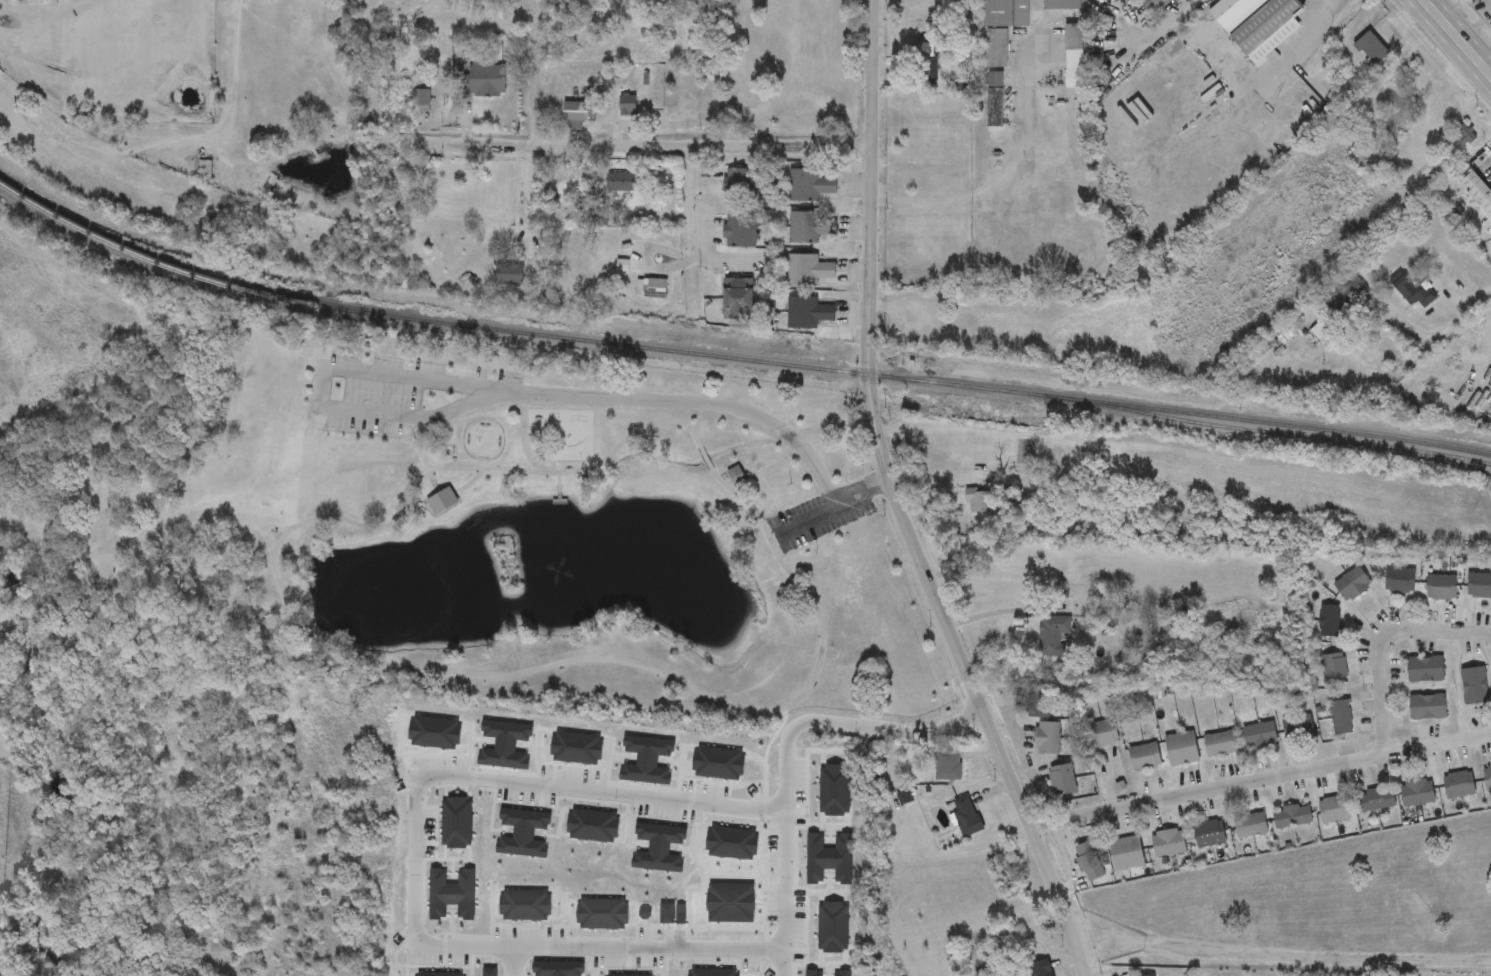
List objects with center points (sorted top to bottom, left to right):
building: (1188, 1)
building: (1062, 5)
building: (1155, 5)
building: (1006, 13)
building: (1258, 24)
road: (1458, 37)
building: (996, 49)
building: (1074, 56)
building: (921, 63)
road: (1277, 66)
building: (484, 79)
building: (1414, 83)
building: (995, 100)
building: (628, 105)
building: (574, 113)
building: (1434, 114)
building: (1465, 134)
road: (480, 142)
road: (701, 145)
building: (204, 171)
building: (622, 183)
building: (741, 186)
building: (810, 186)
road: (525, 189)
building: (1478, 193)
road: (691, 222)
building: (811, 229)
building: (740, 233)
building: (808, 271)
building: (509, 275)
building: (653, 289)
building: (1413, 293)
building: (1346, 297)
building: (738, 299)
building: (807, 314)
building: (1320, 331)
road: (1438, 331)
railway: (734, 358)
parking lot: (395, 388)
road: (485, 397)
railway: (1279, 434)
road: (385, 435)
fountain: (483, 440)
road: (551, 467)
road: (429, 474)
building: (735, 474)
road: (469, 481)
road: (558, 482)
road: (937, 483)
road: (436, 490)
road: (558, 496)
building: (441, 501)
road: (558, 501)
building: (977, 501)
road: (896, 504)
road: (831, 509)
road: (769, 515)
parking lot: (820, 515)
road: (773, 524)
road: (265, 526)
road: (132, 547)
park: (432, 552)
fountain: (571, 554)
building: (1399, 580)
building: (1352, 584)
building: (1479, 586)
building: (1441, 587)
fountain: (413, 596)
road: (293, 610)
building: (1328, 621)
building: (1052, 635)
building: (1333, 668)
building: (1425, 669)
building: (1474, 685)
road: (1382, 696)
road: (998, 698)
building: (1038, 702)
building: (1427, 707)
building: (1341, 717)
building: (1298, 727)
building: (1102, 734)
building: (1260, 735)
building: (1046, 737)
building: (1220, 743)
building: (1181, 749)
road: (785, 754)
road: (152, 756)
building: (1144, 757)
building: (947, 765)
road: (1025, 765)
building: (1487, 778)
building: (1061, 780)
building: (1459, 784)
road: (1205, 790)
building: (1417, 793)
building: (1375, 800)
building: (1334, 810)
building: (966, 816)
building: (1293, 817)
building: (1250, 826)
building: (1209, 834)
building: (1169, 843)
road: (427, 852)
building: (1127, 853)
building: (1087, 862)
road: (1279, 955)
road: (520, 957)
building: (1039, 968)
building: (1150, 975)

